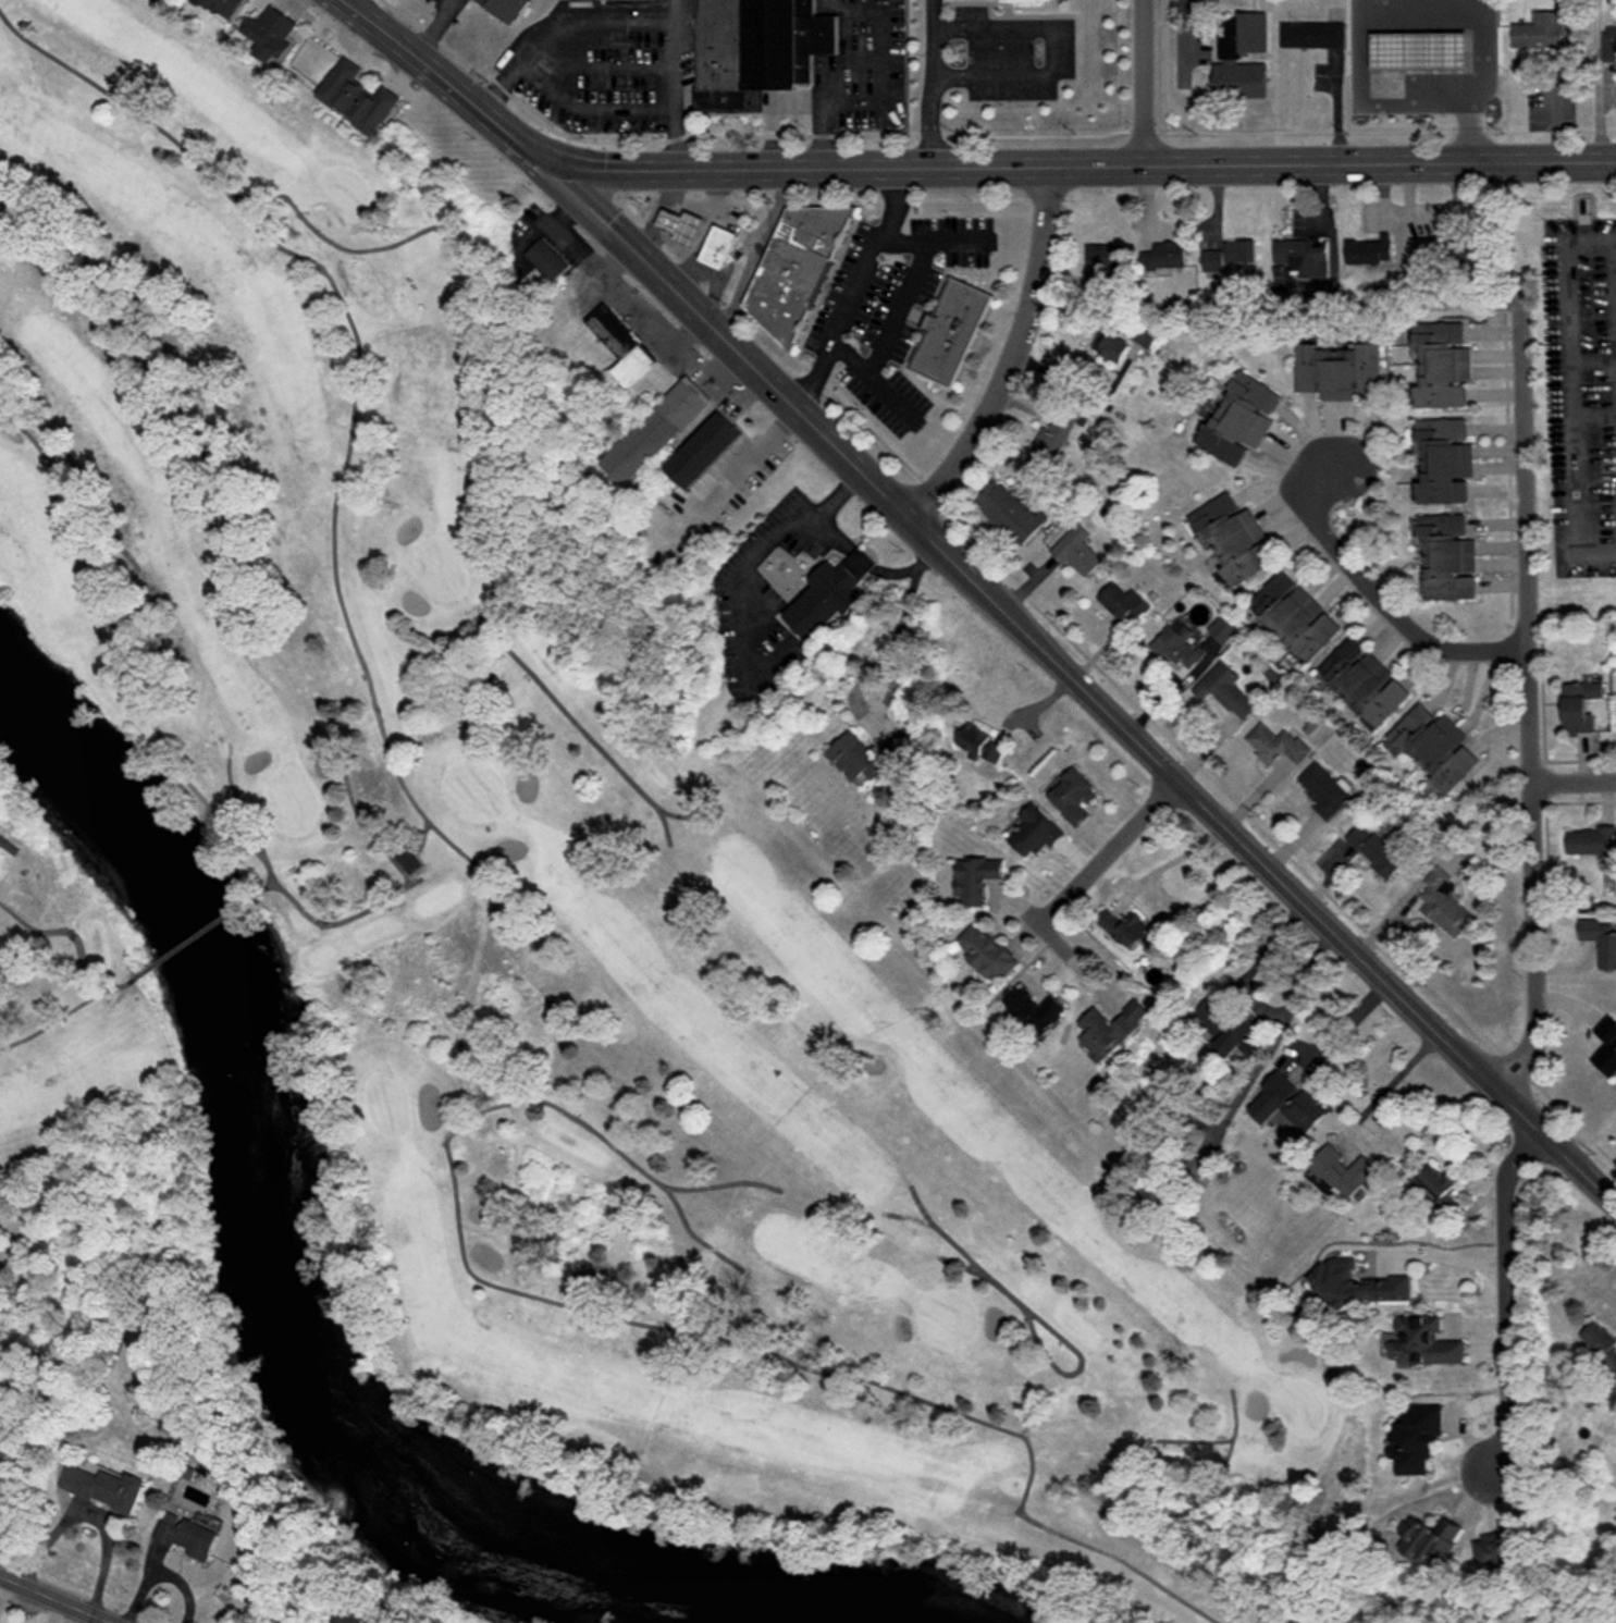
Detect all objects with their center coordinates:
building: (529, 0)
building: (624, 0)
road: (336, 1)
building: (1016, 1)
building: (227, 7)
road: (1396, 7)
building: (506, 9)
road: (930, 14)
road: (631, 23)
road: (430, 29)
building: (1540, 32)
building: (273, 35)
building: (1312, 35)
building: (1609, 44)
building: (1417, 49)
building: (755, 51)
road: (1048, 52)
building: (1228, 59)
road: (442, 83)
road: (1144, 83)
building: (359, 97)
road: (861, 97)
road: (929, 98)
road: (1332, 163)
traffic signals: (554, 167)
road: (801, 169)
building: (680, 228)
road: (957, 242)
building: (717, 248)
building: (1423, 248)
road: (755, 250)
building: (1369, 250)
building: (1164, 256)
building: (1229, 257)
building: (1304, 257)
building: (545, 261)
building: (1105, 263)
building: (794, 269)
road: (851, 288)
road: (896, 311)
building: (949, 334)
building: (1146, 335)
road: (730, 344)
building: (1111, 346)
building: (620, 347)
road: (1013, 357)
building: (1442, 365)
building: (1337, 370)
road: (890, 398)
road: (1569, 398)
building: (1239, 419)
building: (656, 432)
building: (1049, 443)
building: (702, 452)
building: (1444, 460)
road: (738, 474)
building: (1009, 512)
road: (836, 534)
building: (1232, 538)
building: (1077, 551)
building: (1446, 556)
road: (862, 562)
road: (744, 565)
road: (908, 571)
road: (1372, 590)
building: (829, 594)
building: (1123, 604)
building: (1295, 616)
building: (1222, 629)
road: (867, 672)
building: (1364, 681)
building: (1225, 690)
road: (1525, 700)
building: (1579, 706)
building: (979, 743)
building: (1275, 745)
building: (1434, 748)
building: (869, 754)
road: (1574, 786)
building: (1325, 789)
building: (1073, 797)
building: (1034, 832)
building: (1591, 841)
building: (1374, 850)
road: (1107, 852)
building: (407, 861)
road: (1170, 861)
road: (1262, 863)
building: (975, 878)
building: (1444, 905)
park: (544, 921)
building: (1123, 927)
road: (1045, 934)
building: (1600, 940)
building: (986, 952)
road: (1254, 1001)
road: (1321, 1005)
building: (1034, 1009)
building: (1109, 1029)
building: (1228, 1029)
building: (1606, 1047)
road: (1398, 1083)
building: (1287, 1103)
building: (1194, 1167)
building: (1342, 1170)
building: (1435, 1181)
building: (1447, 1203)
road: (1444, 1256)
building: (1384, 1283)
road: (1506, 1300)
river: (293, 1304)
building: (1422, 1342)
building: (1600, 1345)
building: (1415, 1438)
building: (101, 1488)
building: (186, 1537)
building: (1429, 1540)
building: (1494, 1550)
road: (159, 1572)
road: (2, 1584)
road: (53, 1599)
road: (51, 1611)
building: (354, 1616)

